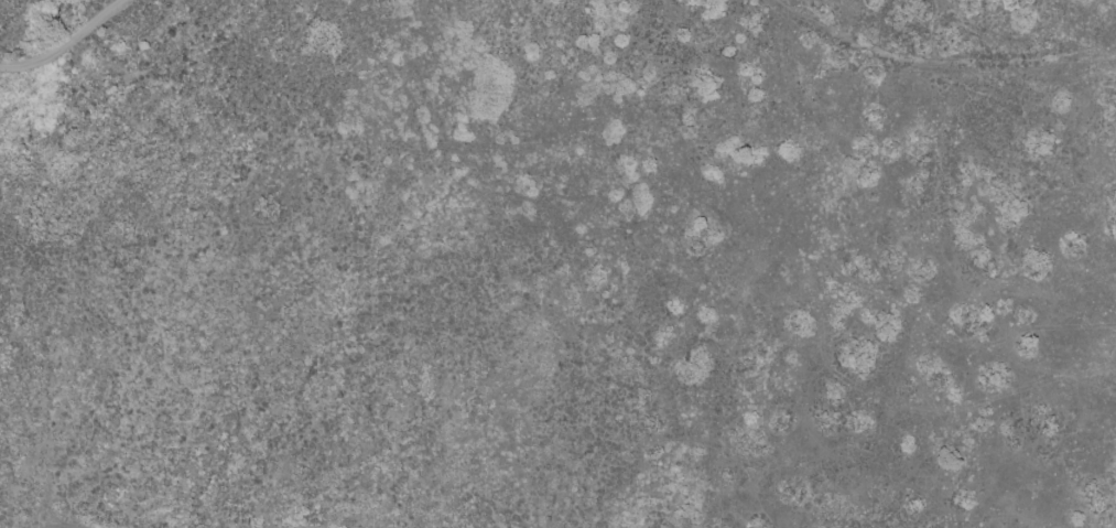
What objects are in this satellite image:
road: (68, 39)

